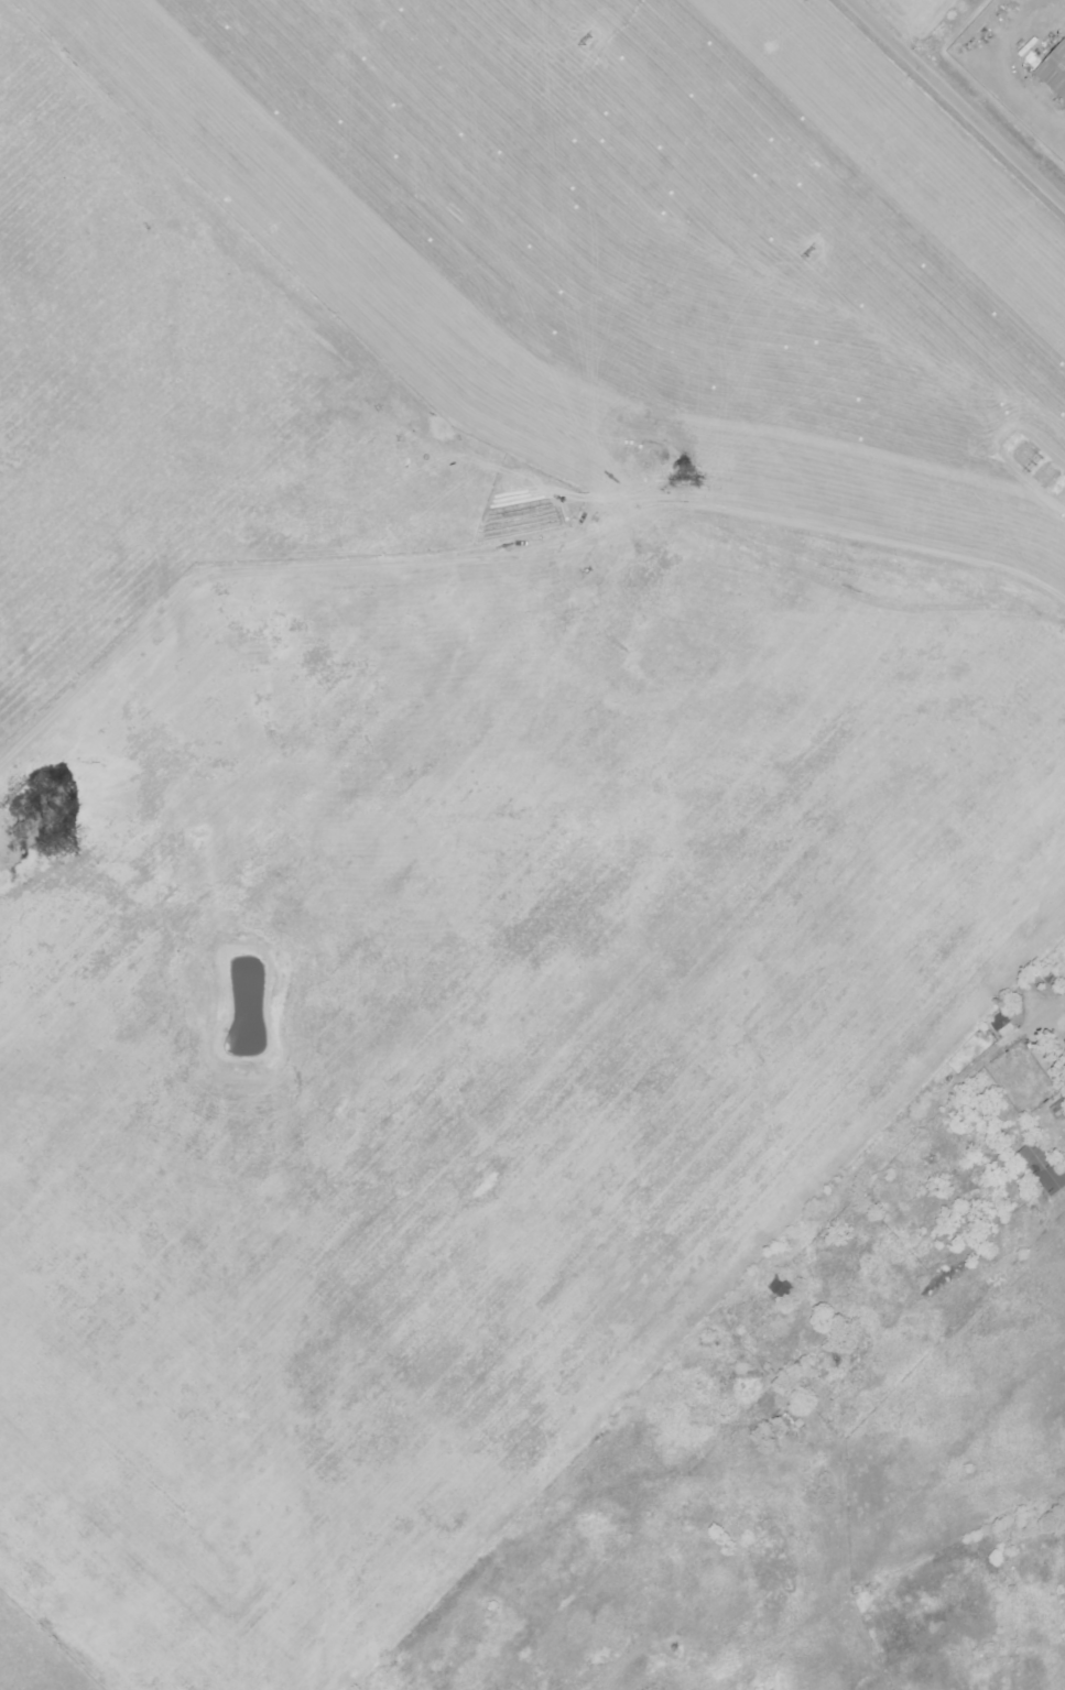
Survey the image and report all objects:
power tower: (579, 36)
building: (1055, 68)
road: (958, 99)
power tower: (804, 251)
power tower: (1029, 461)
building: (1046, 1167)

